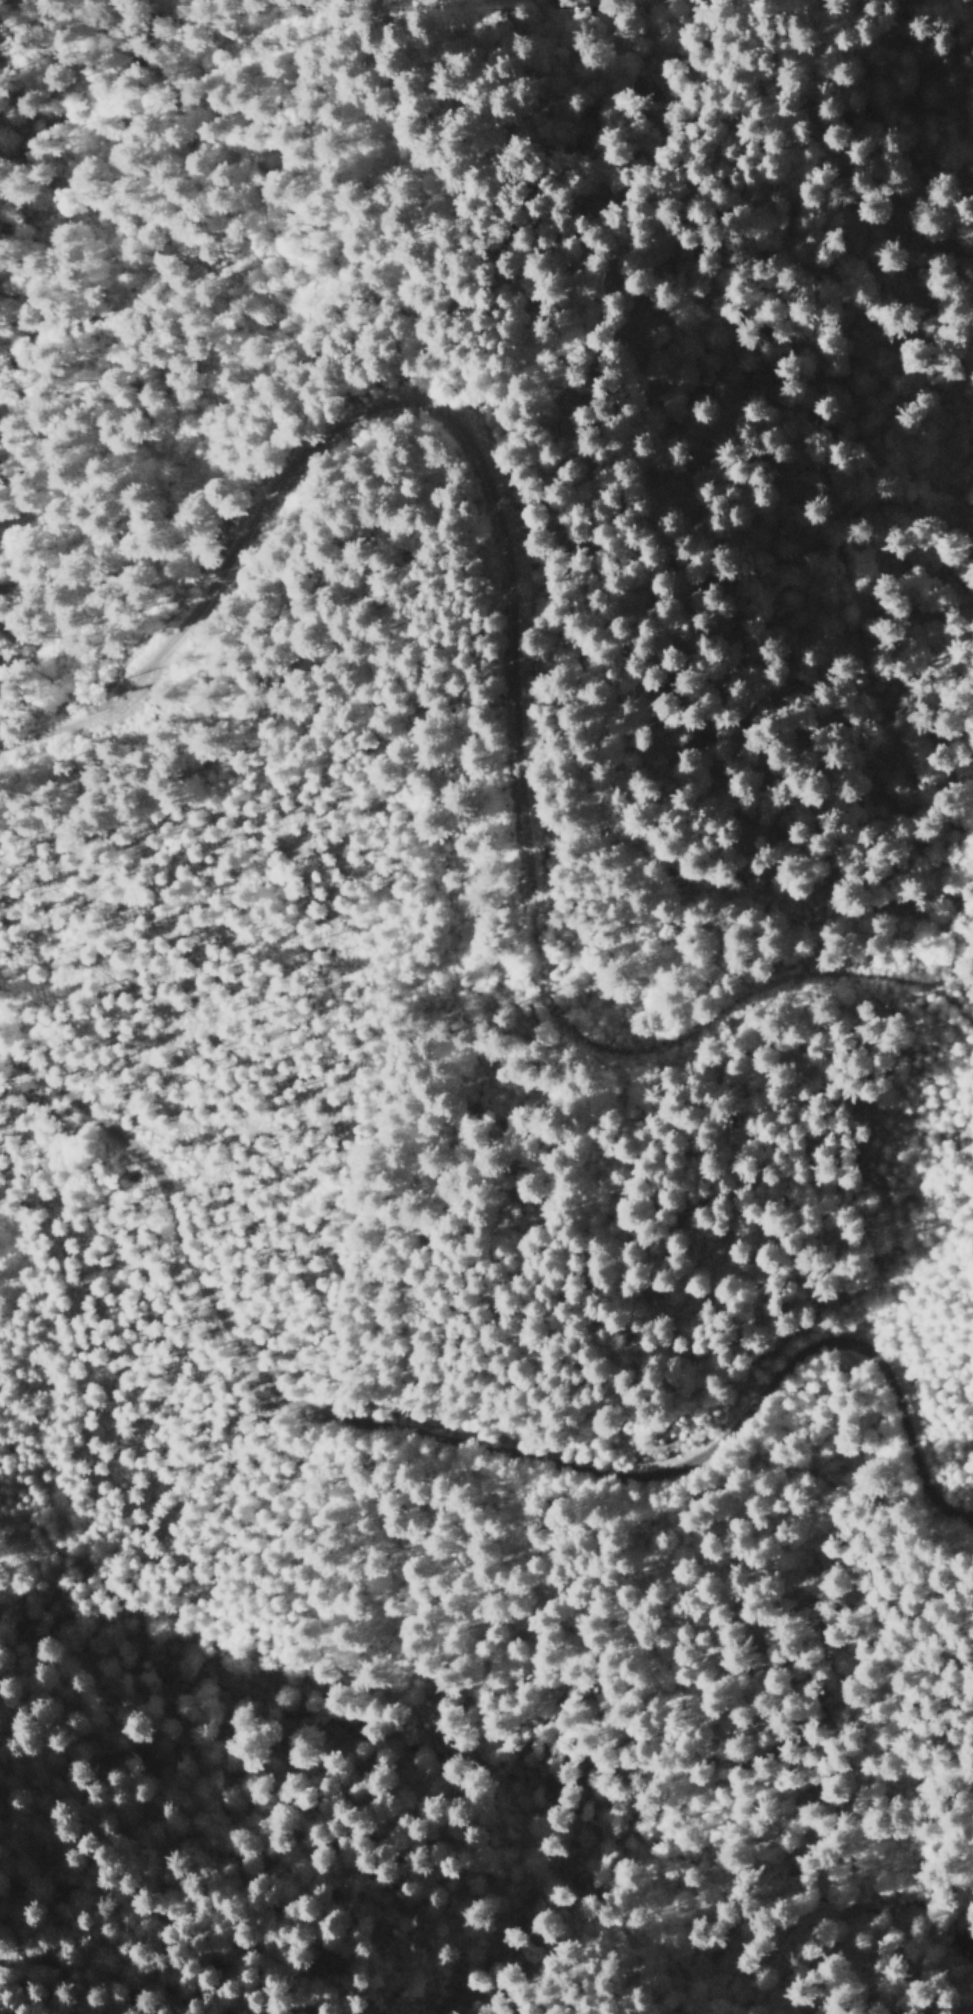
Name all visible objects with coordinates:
road: (476, 1447)

